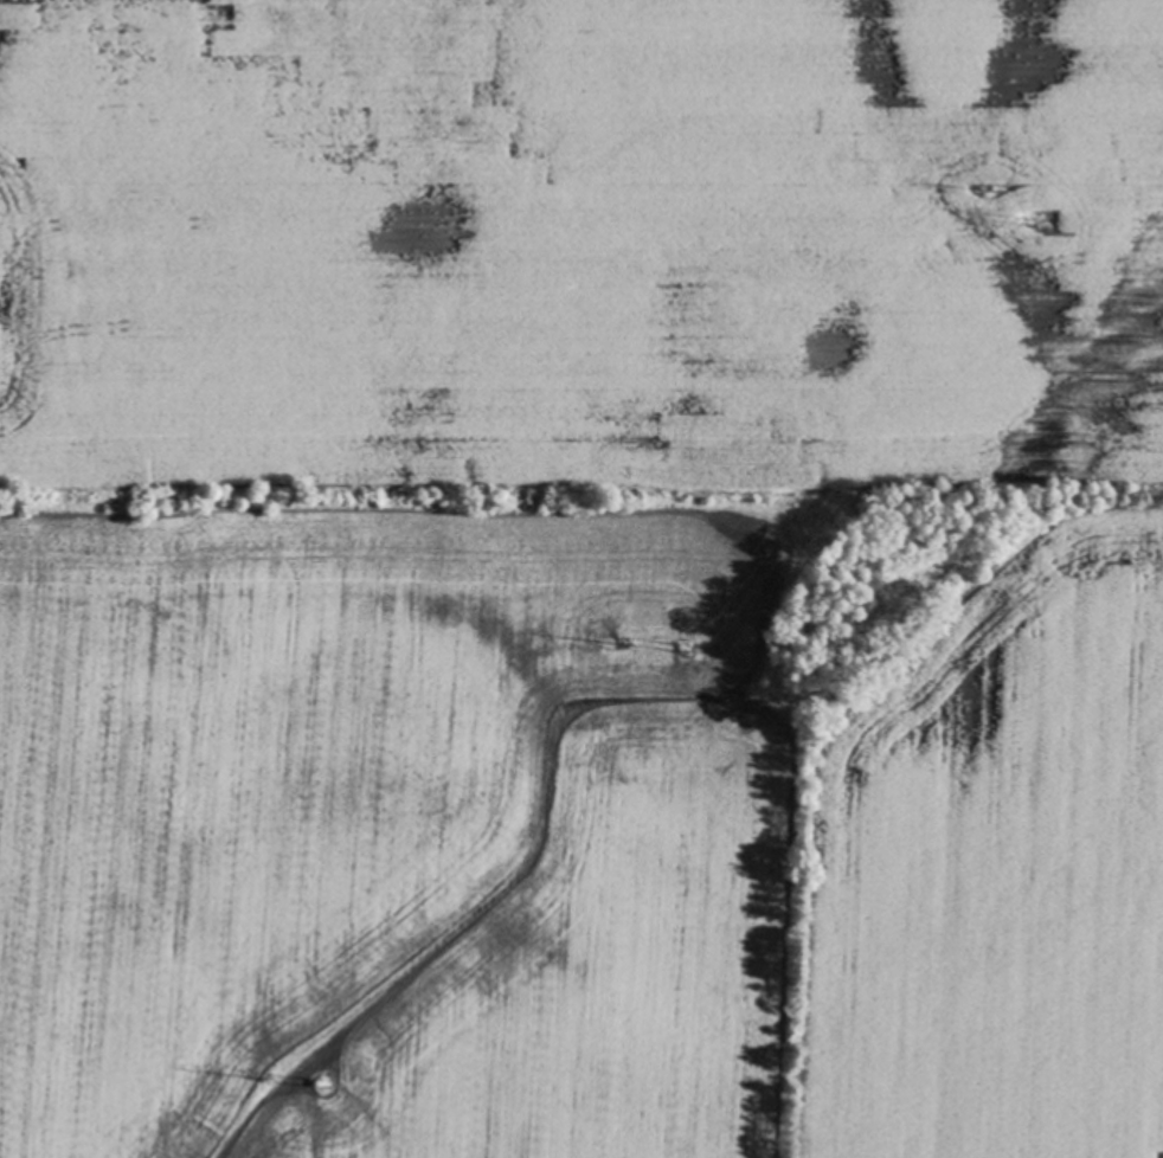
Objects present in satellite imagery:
power tower: (996, 187)
power tower: (1035, 223)
power tower: (621, 644)
power tower: (686, 648)
power tower: (275, 1072)
power tower: (330, 1080)

